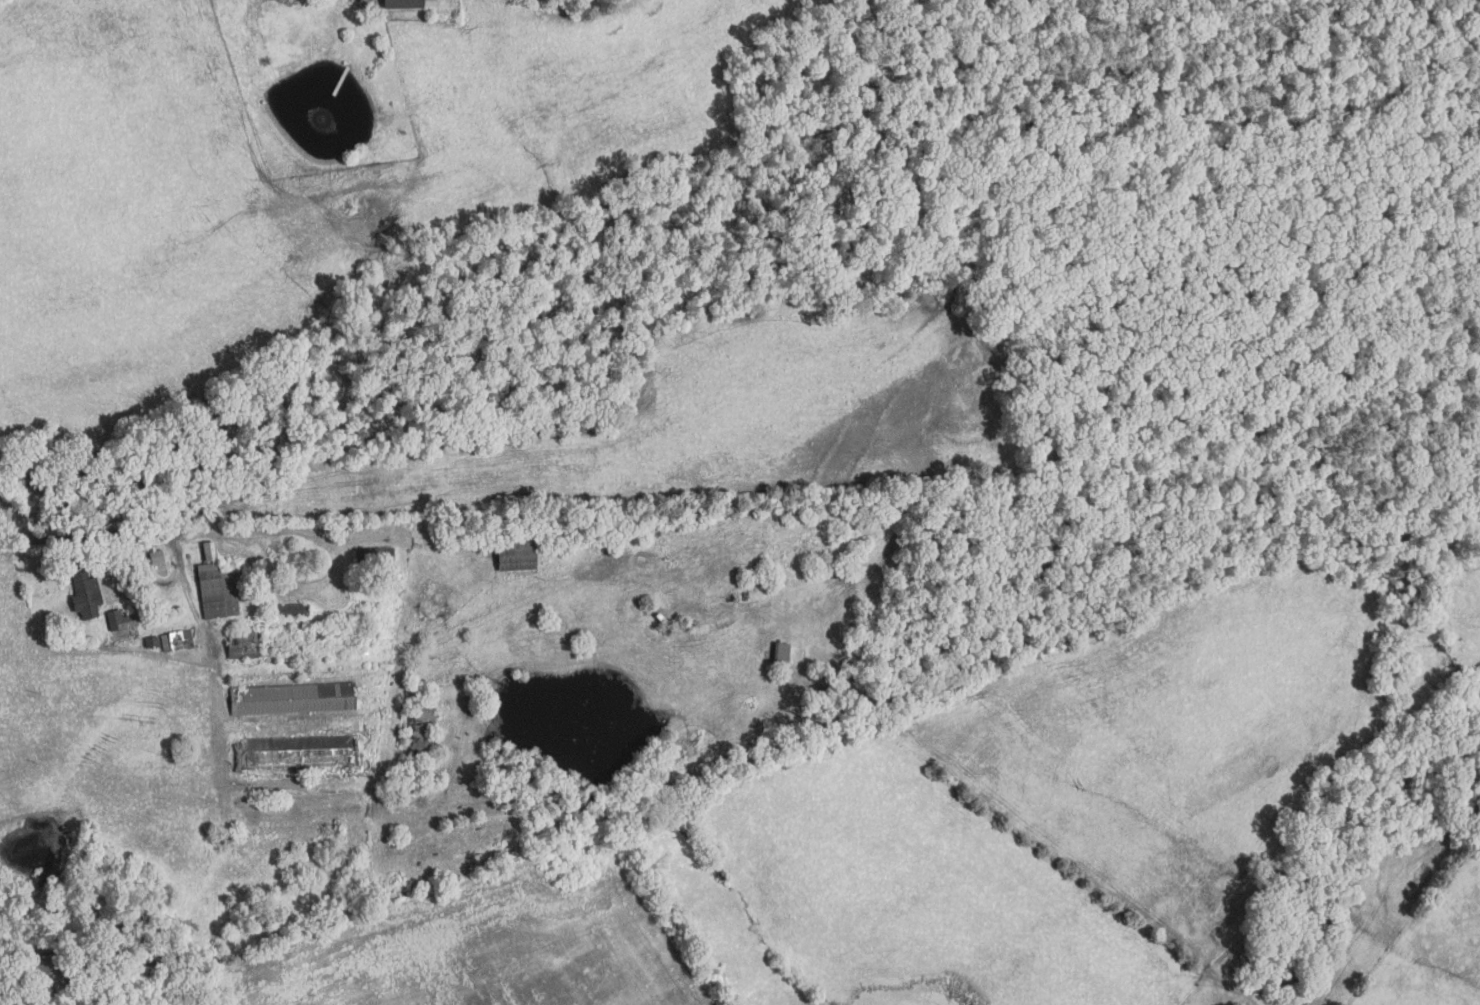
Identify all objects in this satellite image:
building: (402, 4)
building: (159, 518)
road: (111, 533)
building: (208, 551)
building: (373, 553)
building: (514, 555)
building: (154, 557)
building: (226, 564)
building: (240, 568)
building: (214, 589)
building: (84, 591)
building: (287, 611)
building: (120, 619)
building: (175, 640)
building: (289, 641)
building: (151, 642)
building: (779, 651)
building: (291, 698)
building: (419, 725)
building: (293, 754)
crop: (484, 941)
road: (28, 969)
building: (45, 972)

